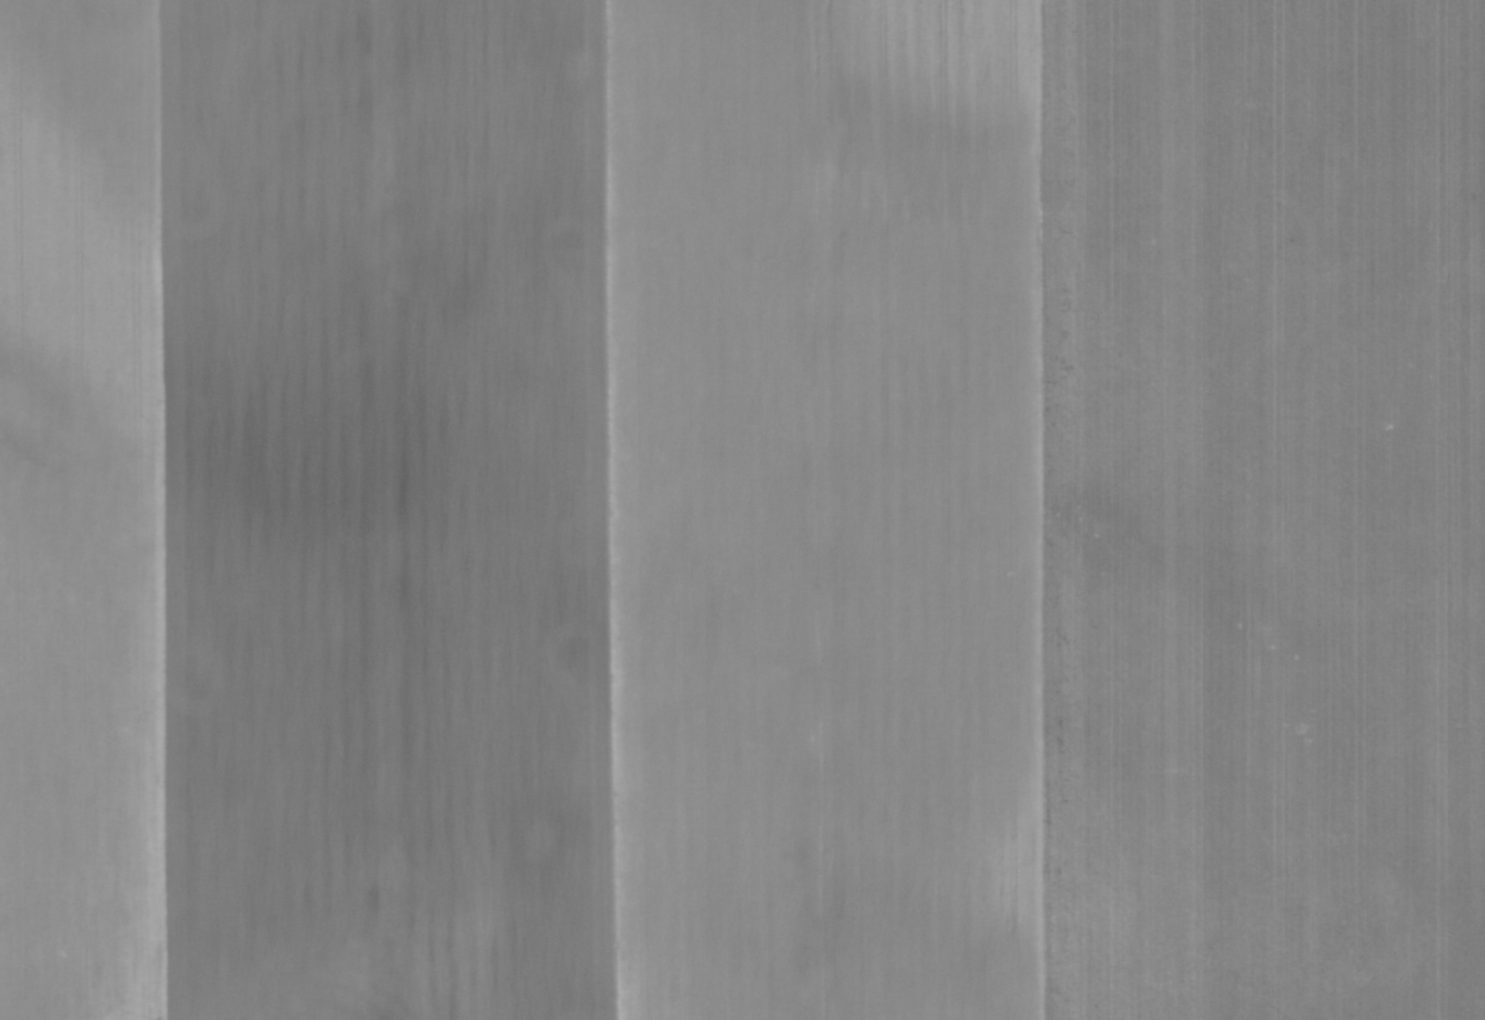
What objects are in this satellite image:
crop: (742, 510)

